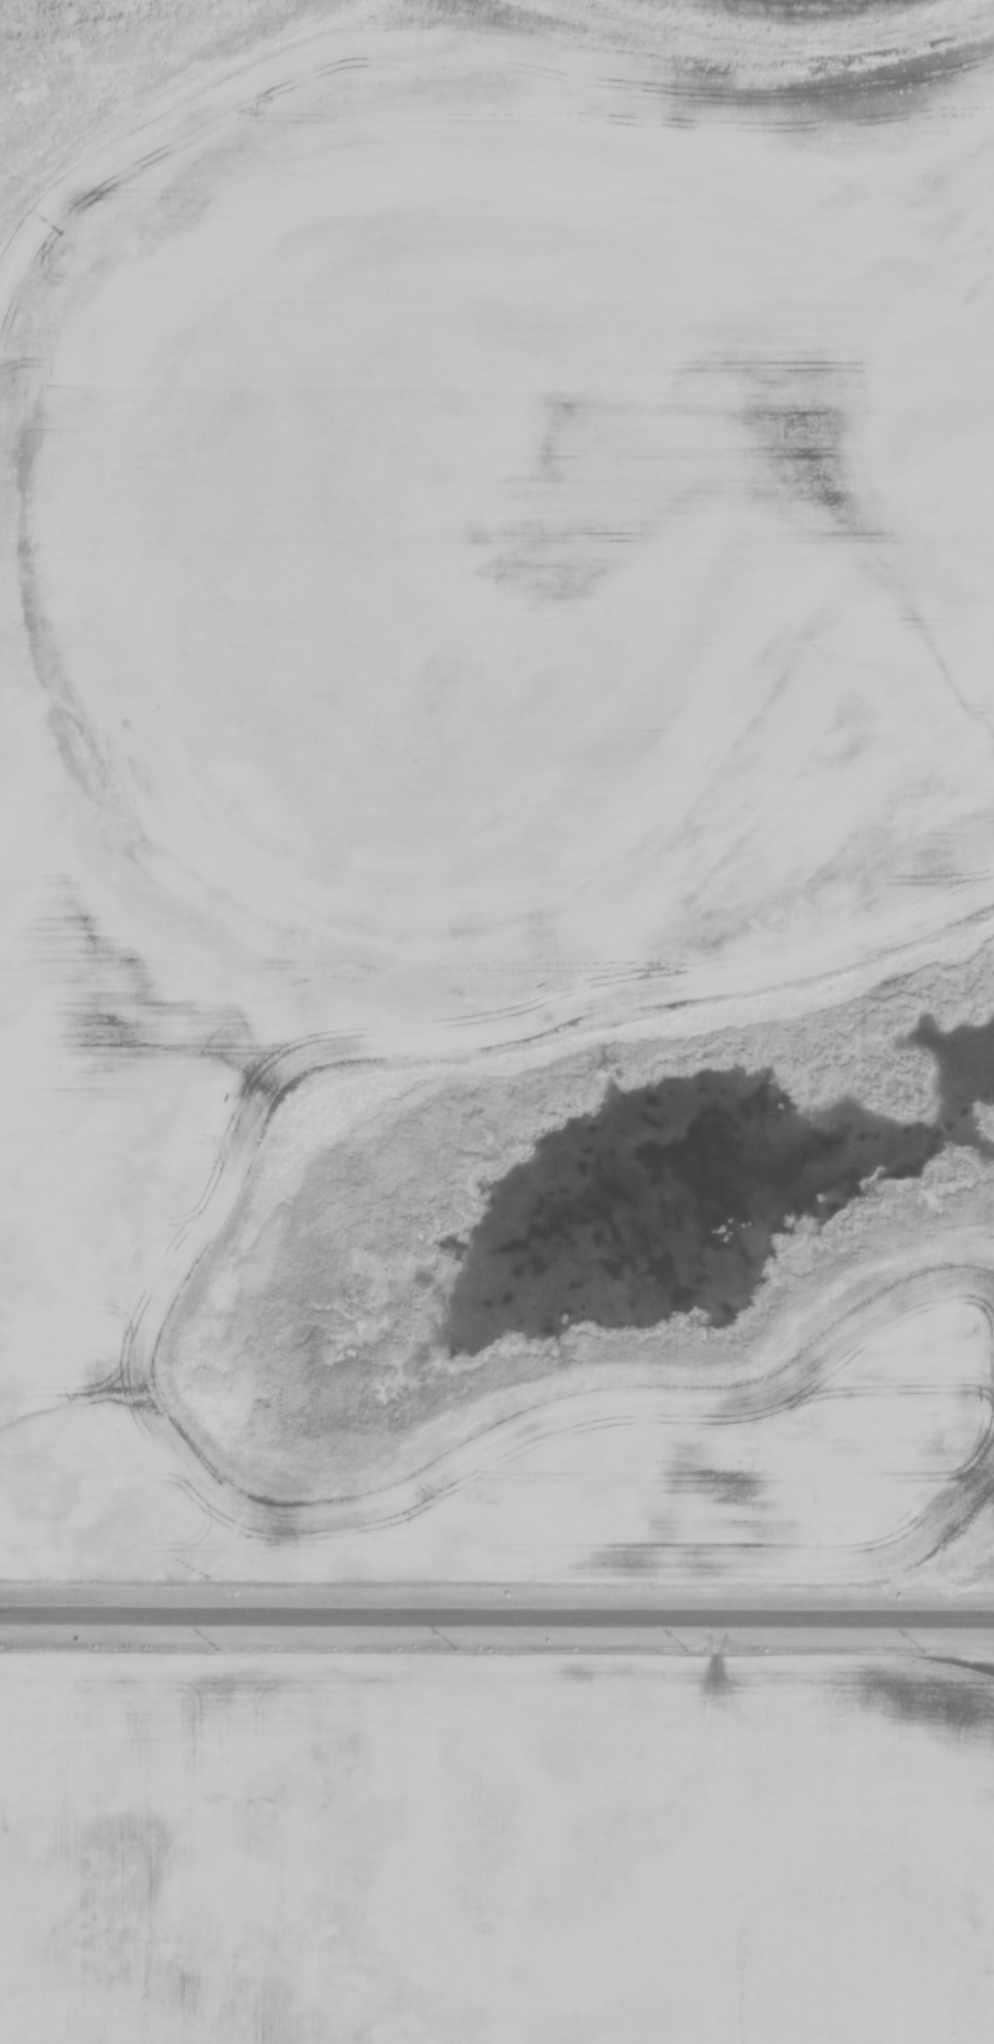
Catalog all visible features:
road: (497, 1619)

